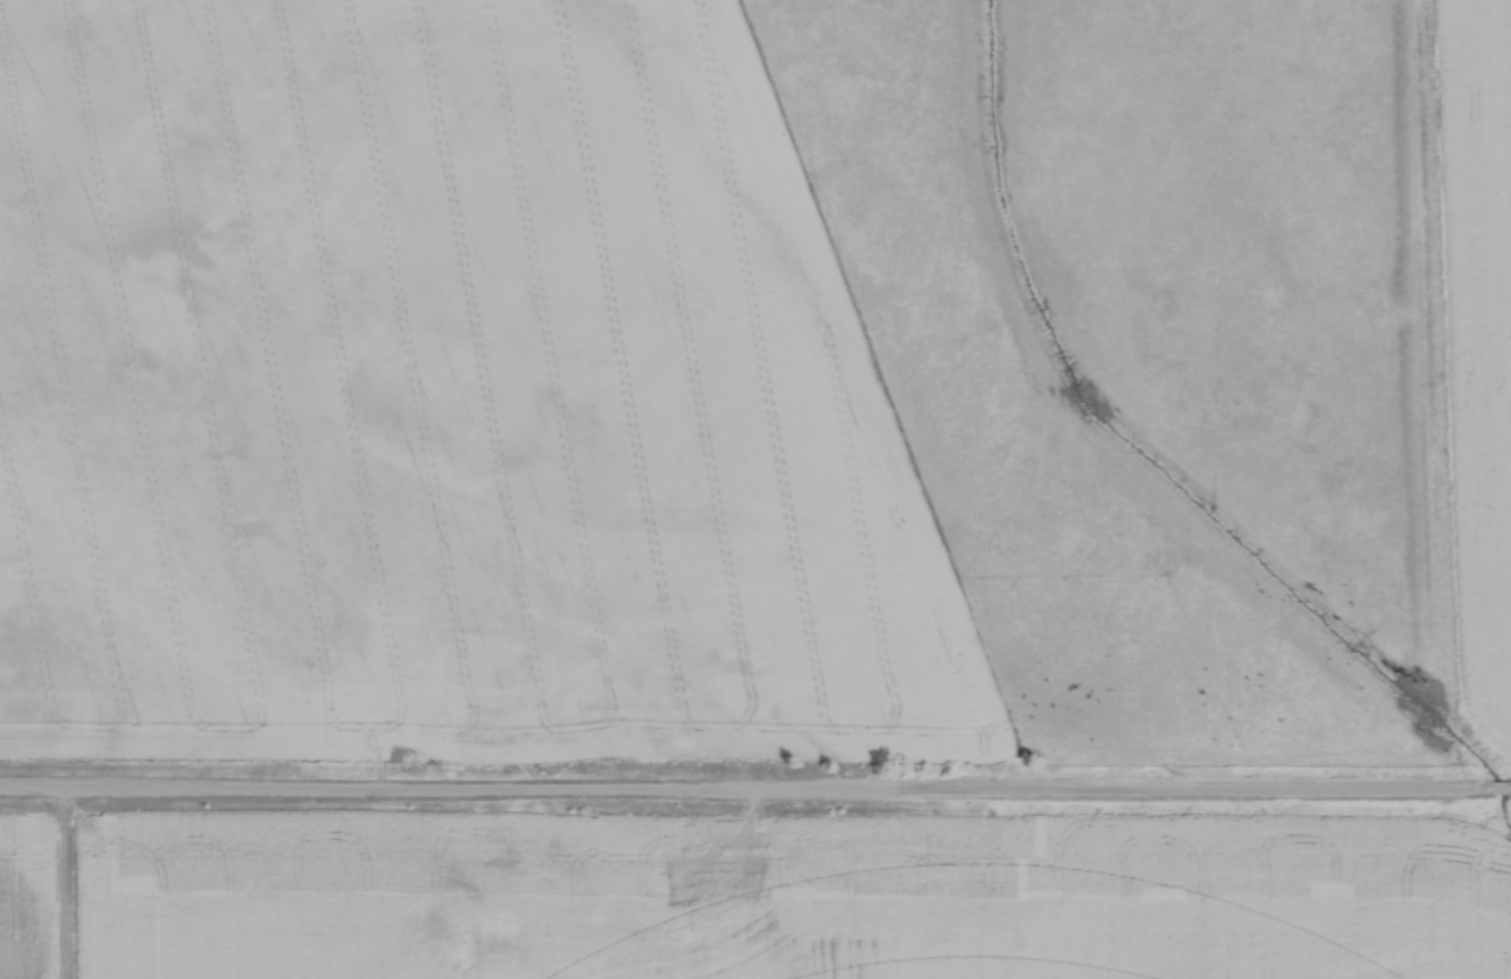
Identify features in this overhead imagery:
road: (658, 736)
road: (1500, 788)
road: (1508, 788)
road: (747, 793)

